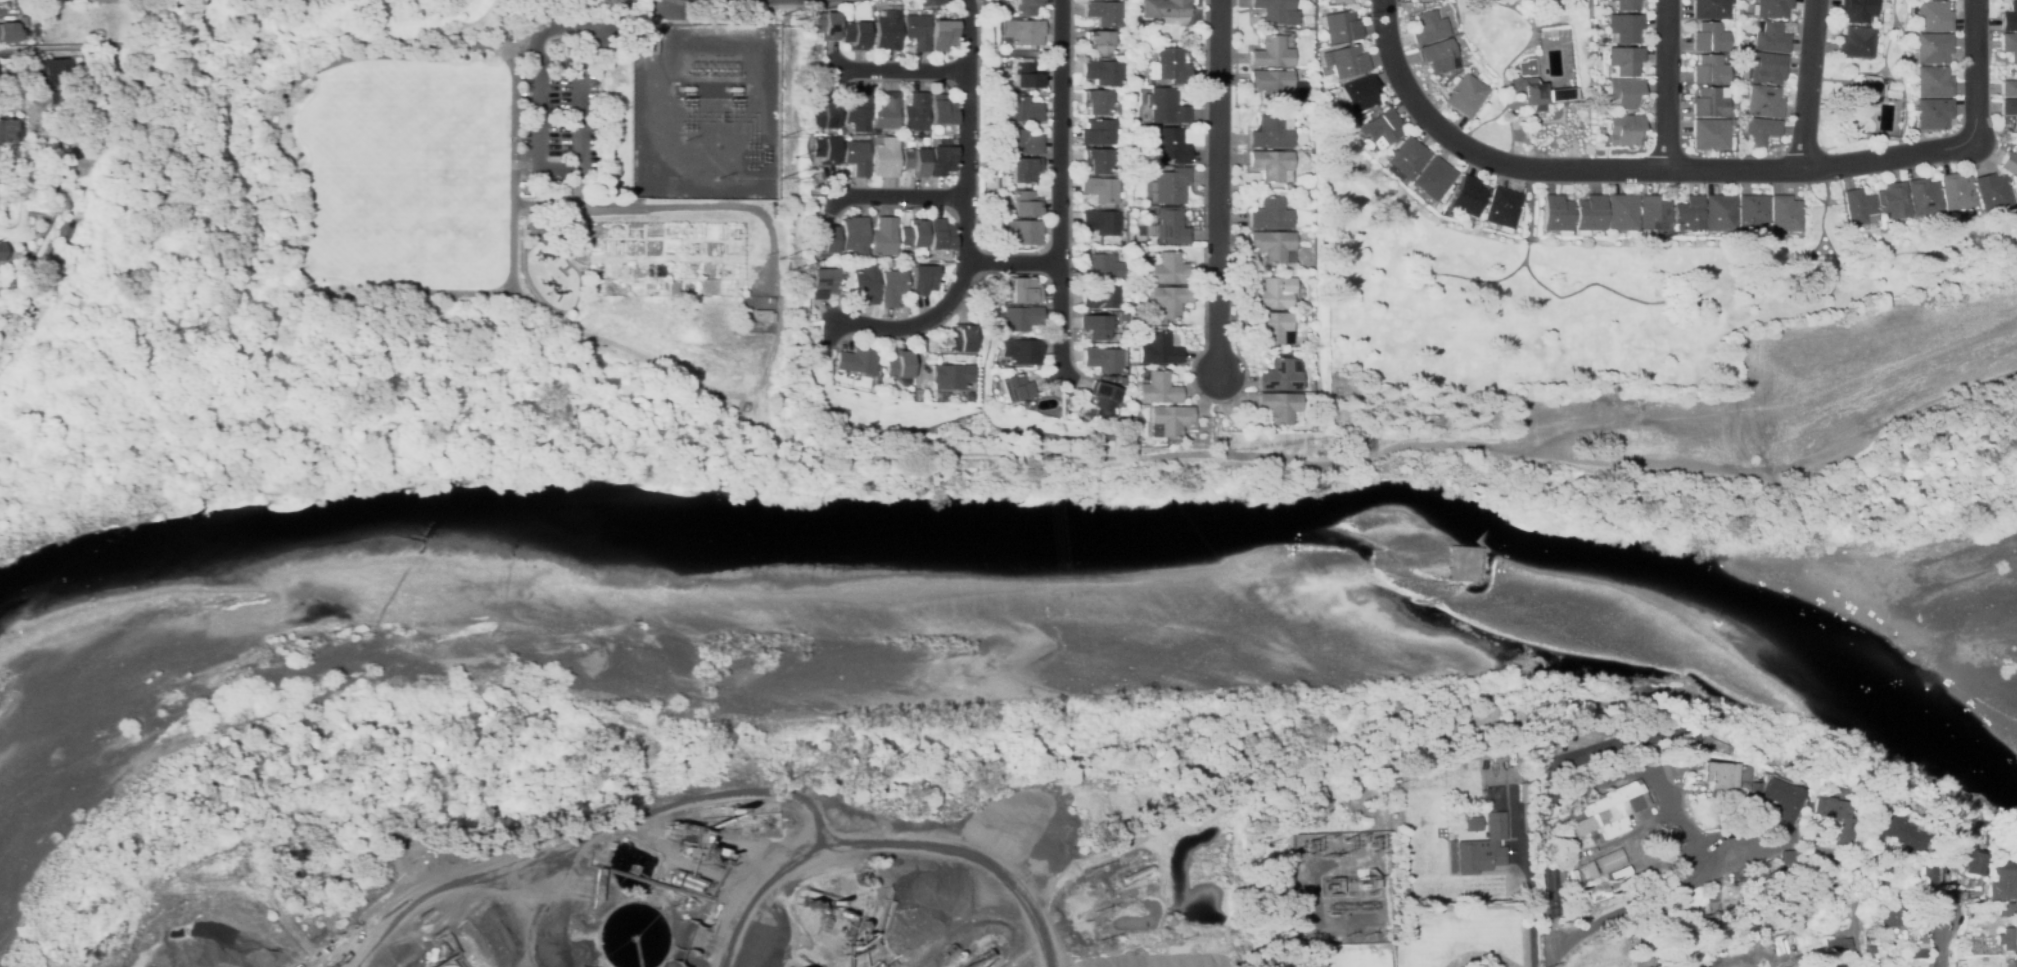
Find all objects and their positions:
building: (1426, 0)
building: (121, 1)
building: (1338, 1)
building: (928, 2)
building: (1626, 5)
building: (1027, 7)
building: (1770, 8)
building: (1273, 9)
building: (1710, 9)
road: (7, 10)
road: (615, 11)
building: (1166, 11)
building: (1858, 11)
building: (1103, 12)
building: (1931, 16)
building: (2009, 18)
building: (825, 25)
building: (1341, 26)
building: (1430, 27)
building: (1625, 27)
building: (32, 31)
building: (887, 31)
building: (916, 31)
building: (1023, 31)
building: (7, 33)
building: (854, 35)
building: (942, 35)
building: (1709, 37)
building: (1770, 38)
building: (1131, 41)
building: (1099, 42)
building: (1856, 42)
building: (2009, 45)
road: (144, 48)
building: (1931, 48)
road: (520, 51)
building: (1271, 53)
building: (1438, 56)
building: (1344, 60)
building: (1625, 60)
building: (813, 66)
building: (1171, 66)
building: (1767, 68)
road: (902, 69)
building: (1709, 70)
road: (1975, 70)
building: (1102, 72)
building: (47, 73)
building: (1312, 73)
building: (1025, 76)
building: (1931, 82)
road: (1809, 83)
building: (1272, 85)
road: (1667, 85)
building: (1321, 87)
building: (2009, 88)
building: (1537, 89)
building: (1624, 92)
building: (1866, 92)
building: (1359, 93)
building: (1465, 95)
building: (1319, 97)
building: (1763, 101)
building: (1710, 102)
building: (1098, 103)
building: (63, 104)
building: (1166, 107)
building: (2009, 107)
building: (1022, 109)
building: (856, 110)
building: (941, 110)
building: (1286, 110)
building: (704, 111)
power substation: (704, 111)
building: (886, 112)
building: (915, 112)
building: (1932, 113)
building: (824, 116)
building: (1380, 128)
building: (1731, 128)
building: (8, 130)
building: (1623, 130)
building: (1758, 131)
building: (1096, 132)
building: (1270, 133)
building: (1709, 134)
building: (1731, 141)
building: (1021, 142)
building: (1168, 146)
building: (825, 150)
building: (856, 157)
building: (885, 157)
building: (1406, 158)
building: (941, 160)
building: (1098, 160)
building: (915, 161)
building: (2009, 163)
building: (1272, 165)
building: (1024, 169)
road: (1630, 171)
road: (537, 172)
park: (406, 173)
building: (1432, 178)
building: (1170, 186)
building: (1286, 186)
road: (1059, 187)
road: (1218, 187)
building: (1101, 189)
road: (581, 191)
building: (1003, 192)
building: (1990, 192)
building: (1956, 193)
road: (901, 196)
building: (1466, 196)
building: (1923, 198)
building: (1892, 200)
building: (822, 201)
park: (520, 202)
building: (1025, 203)
building: (1857, 206)
building: (1501, 208)
building: (1150, 209)
building: (1688, 212)
building: (1719, 212)
building: (1621, 213)
building: (1783, 213)
building: (1269, 214)
building: (1555, 214)
building: (1588, 214)
building: (1653, 214)
building: (1750, 214)
road: (966, 221)
building: (1100, 222)
building: (1167, 227)
building: (63, 229)
building: (1021, 231)
building: (1297, 233)
building: (913, 235)
building: (940, 235)
building: (884, 236)
building: (854, 237)
building: (824, 242)
building: (1272, 246)
building: (46, 251)
road: (1013, 263)
building: (1099, 267)
building: (1168, 269)
building: (922, 279)
building: (822, 283)
road: (296, 284)
building: (865, 284)
building: (892, 288)
building: (1019, 290)
building: (1271, 294)
building: (1098, 297)
building: (770, 300)
building: (1167, 300)
building: (763, 316)
road: (778, 318)
building: (1018, 318)
building: (1268, 326)
building: (1095, 328)
building: (959, 340)
building: (1155, 350)
building: (1018, 351)
building: (1100, 359)
building: (856, 361)
building: (897, 365)
building: (1007, 371)
building: (949, 376)
building: (1277, 376)
building: (1118, 382)
building: (1011, 388)
building: (1155, 389)
building: (1099, 398)
building: (1276, 406)
building: (1165, 420)
river: (1018, 549)
road: (1615, 768)
building: (1715, 779)
building: (1744, 792)
building: (1772, 800)
building: (1600, 811)
building: (1835, 834)
building: (1893, 834)
building: (1644, 837)
building: (1664, 839)
building: (1464, 842)
building: (1959, 856)
building: (1778, 859)
building: (1603, 862)
building: (1582, 871)
building: (1612, 873)
building: (1569, 875)
building: (1928, 875)
building: (1997, 886)
road: (1655, 889)
building: (1587, 892)
building: (860, 903)
building: (2005, 911)
building: (477, 914)
road: (1550, 914)
building: (1894, 916)
building: (824, 924)
building: (1713, 928)
building: (1917, 933)
building: (1666, 935)
building: (444, 936)
building: (1307, 936)
road: (1849, 937)
building: (1645, 940)
road: (1944, 940)
building: (2006, 940)
building: (1795, 941)
building: (1422, 945)
building: (1835, 949)
building: (1920, 951)
building: (1367, 954)
building: (2010, 962)
building: (879, 965)

